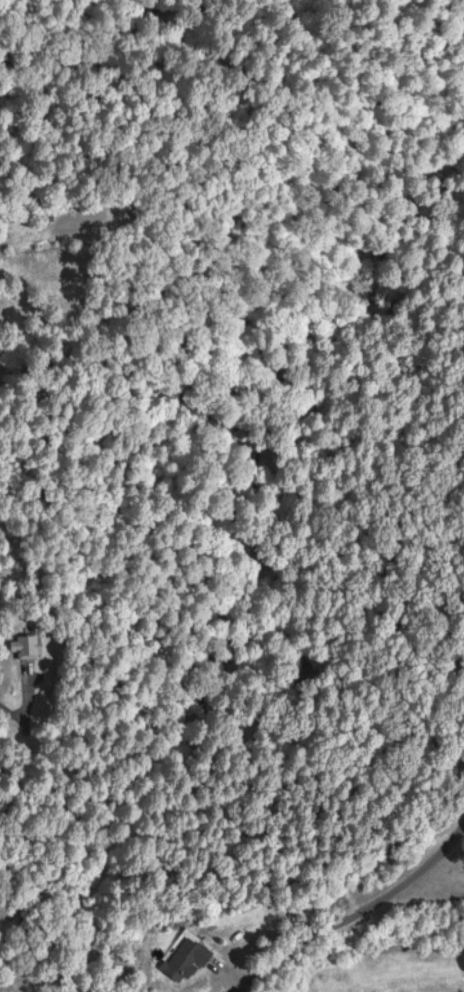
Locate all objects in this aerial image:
building: (20, 648)
road: (354, 930)
building: (182, 962)

